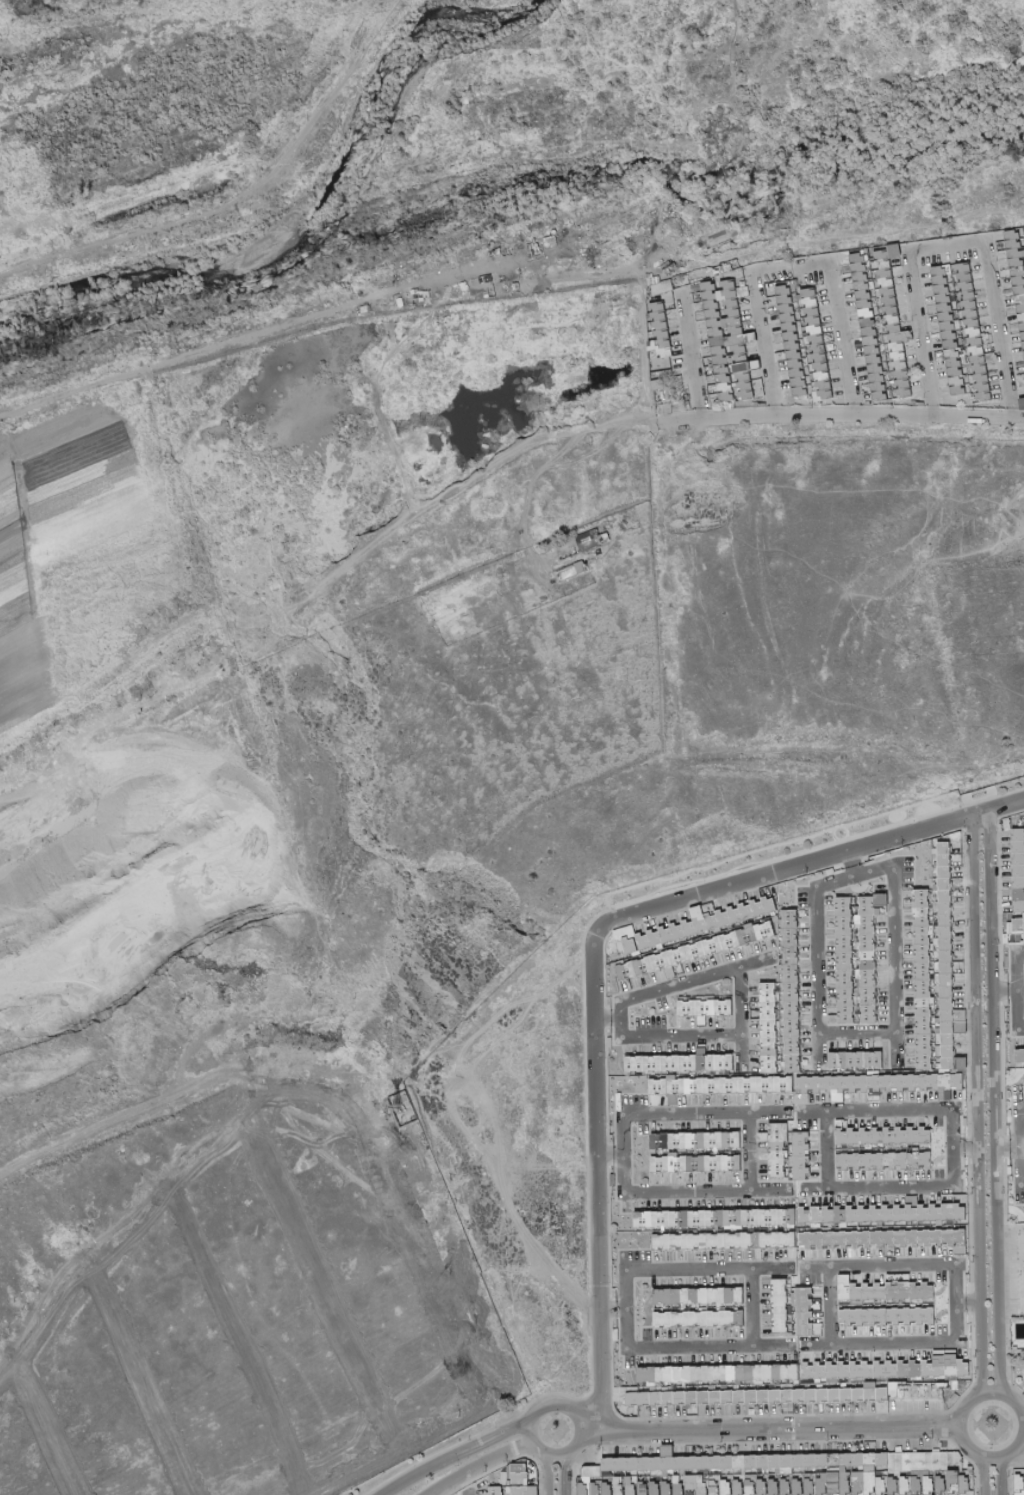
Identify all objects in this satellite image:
crop: (79, 560)

